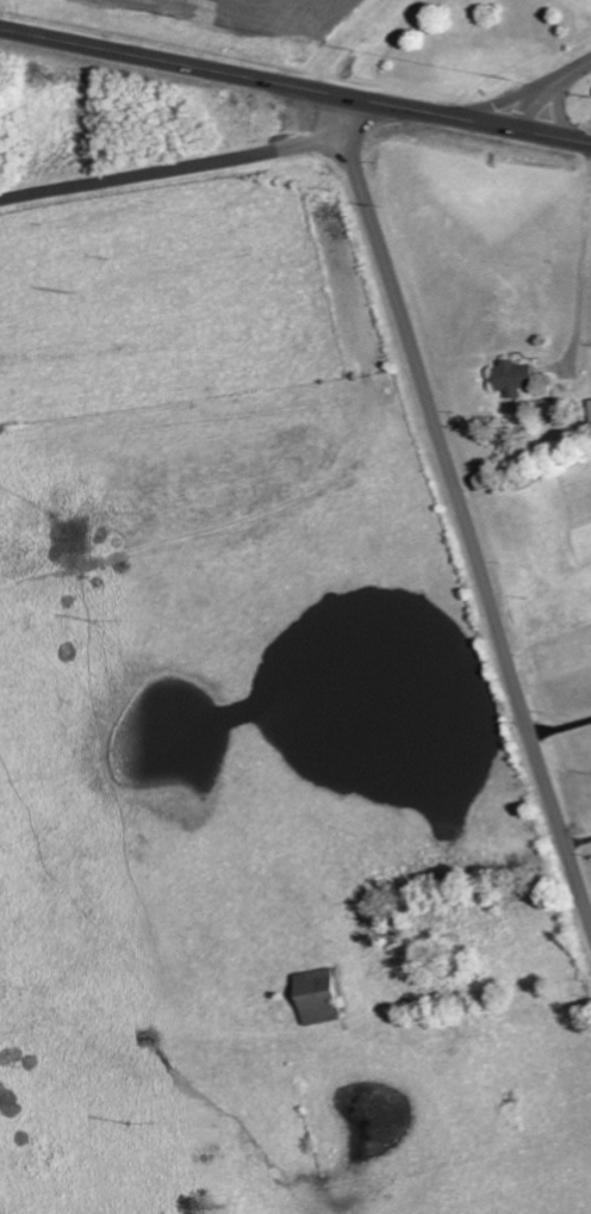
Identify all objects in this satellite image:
road: (89, 21)
road: (168, 62)
road: (548, 89)
road: (428, 112)
road: (555, 136)
road: (173, 172)
road: (583, 262)
building: (520, 378)
road: (461, 507)
road: (561, 725)
road: (579, 844)

